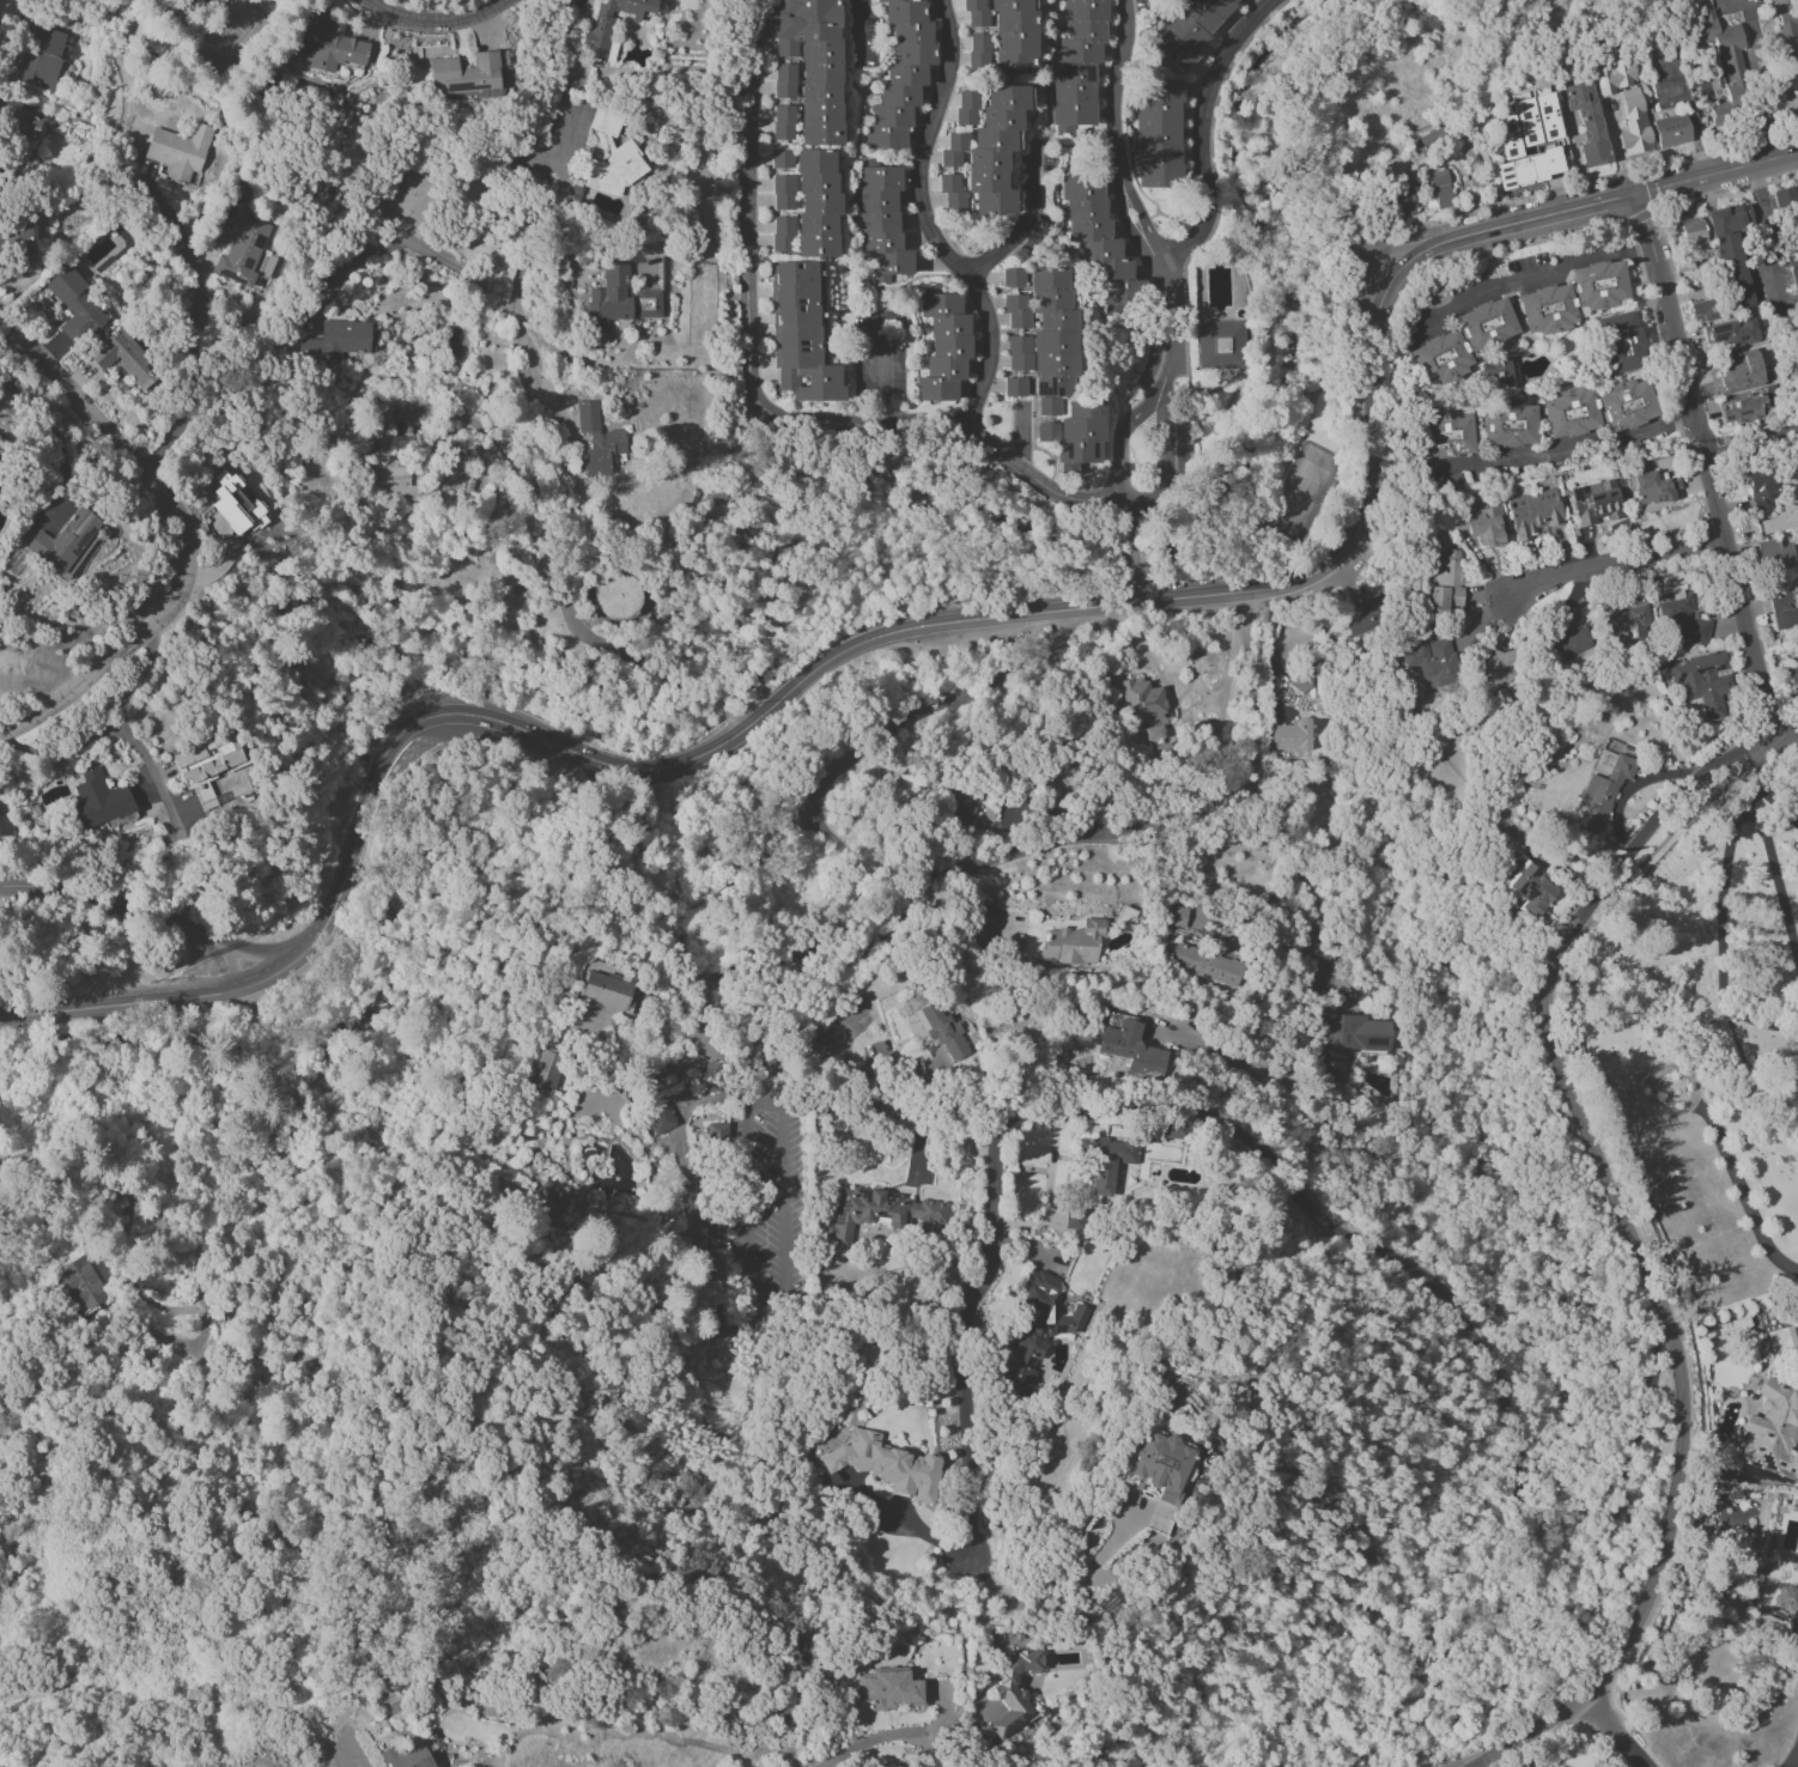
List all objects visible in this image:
building: (1780, 1)
building: (976, 13)
road: (432, 22)
building: (609, 24)
building: (1192, 28)
road: (859, 30)
building: (1008, 38)
building: (329, 47)
building: (40, 56)
building: (1793, 56)
building: (1077, 62)
building: (814, 63)
building: (1724, 65)
building: (901, 73)
building: (467, 74)
building: (1614, 75)
building: (783, 81)
building: (967, 108)
building: (1535, 120)
building: (783, 122)
building: (1586, 122)
building: (1633, 123)
building: (22, 125)
road: (1693, 125)
building: (1672, 130)
road: (1199, 134)
building: (1158, 135)
building: (991, 150)
building: (180, 152)
building: (612, 157)
building: (780, 159)
building: (1519, 159)
road: (1715, 171)
road: (1591, 180)
building: (1440, 189)
building: (952, 192)
building: (783, 193)
road: (1727, 193)
building: (1401, 200)
building: (818, 202)
road: (1132, 204)
road: (1657, 206)
building: (882, 221)
road: (928, 221)
road: (1026, 225)
building: (1788, 230)
building: (783, 235)
building: (1693, 235)
building: (1097, 239)
road: (1377, 248)
building: (242, 250)
road: (523, 254)
road: (348, 265)
building: (1725, 267)
road: (1542, 271)
building: (1012, 278)
building: (1598, 285)
building: (611, 294)
building: (648, 303)
building: (74, 304)
building: (1797, 306)
building: (1547, 309)
road: (193, 321)
building: (1486, 324)
building: (801, 334)
building: (1731, 334)
road: (5, 339)
building: (338, 340)
building: (1620, 342)
building: (943, 345)
building: (1221, 345)
building: (123, 358)
building: (1439, 359)
building: (1053, 369)
building: (1725, 371)
road: (882, 374)
building: (1499, 374)
building: (121, 379)
building: (1013, 387)
road: (757, 401)
building: (1624, 405)
building: (1743, 409)
building: (1508, 423)
road: (485, 432)
building: (1442, 433)
road: (51, 437)
building: (597, 441)
road: (1025, 441)
road: (1125, 443)
road: (539, 444)
road: (1750, 445)
building: (385, 449)
road: (1563, 451)
road: (1165, 462)
road: (1705, 466)
building: (1654, 488)
building: (1763, 488)
building: (1597, 500)
building: (237, 505)
building: (1535, 514)
road: (1130, 518)
building: (1780, 520)
building: (1482, 524)
road: (181, 535)
building: (63, 541)
road: (1132, 553)
building: (1772, 554)
road: (1598, 571)
building: (1445, 579)
road: (1134, 588)
building: (618, 596)
road: (1092, 608)
building: (1784, 612)
building: (1362, 617)
building: (1682, 619)
building: (1627, 624)
building: (1566, 644)
building: (1432, 663)
building: (1501, 667)
building: (1792, 674)
building: (1703, 684)
road: (929, 702)
building: (1146, 706)
road: (729, 714)
road: (742, 721)
road: (1785, 725)
road: (124, 734)
building: (1292, 736)
road: (61, 747)
building: (207, 760)
road: (1755, 787)
building: (1600, 794)
building: (99, 800)
road: (1745, 800)
building: (961, 804)
road: (1150, 821)
road: (358, 830)
road: (1763, 830)
road: (1313, 878)
building: (1530, 889)
road: (728, 897)
road: (135, 912)
building: (1174, 916)
road: (824, 917)
building: (1073, 943)
road: (251, 948)
road: (202, 964)
building: (1205, 965)
building: (700, 980)
building: (605, 988)
road: (200, 996)
road: (1726, 998)
building: (941, 1031)
park: (1709, 1036)
road: (727, 1037)
building: (1351, 1042)
building: (818, 1046)
building: (1131, 1050)
building: (545, 1070)
road: (1654, 1076)
park: (13, 1095)
road: (107, 1106)
building: (657, 1122)
building: (1174, 1129)
building: (717, 1131)
building: (1105, 1160)
road: (1267, 1162)
road: (1741, 1190)
building: (547, 1200)
parking lot: (767, 1210)
building: (879, 1212)
building: (713, 1238)
road: (129, 1241)
road: (1634, 1246)
building: (81, 1283)
road: (786, 1312)
building: (1033, 1329)
building: (1782, 1340)
building: (1772, 1427)
building: (886, 1464)
building: (1161, 1465)
road: (1061, 1595)
building: (1787, 1597)
park: (81, 1621)
building: (794, 1658)
building: (887, 1689)
building: (1014, 1690)
road: (1612, 1730)
road: (904, 1736)
building: (407, 1756)
road: (1794, 1761)

